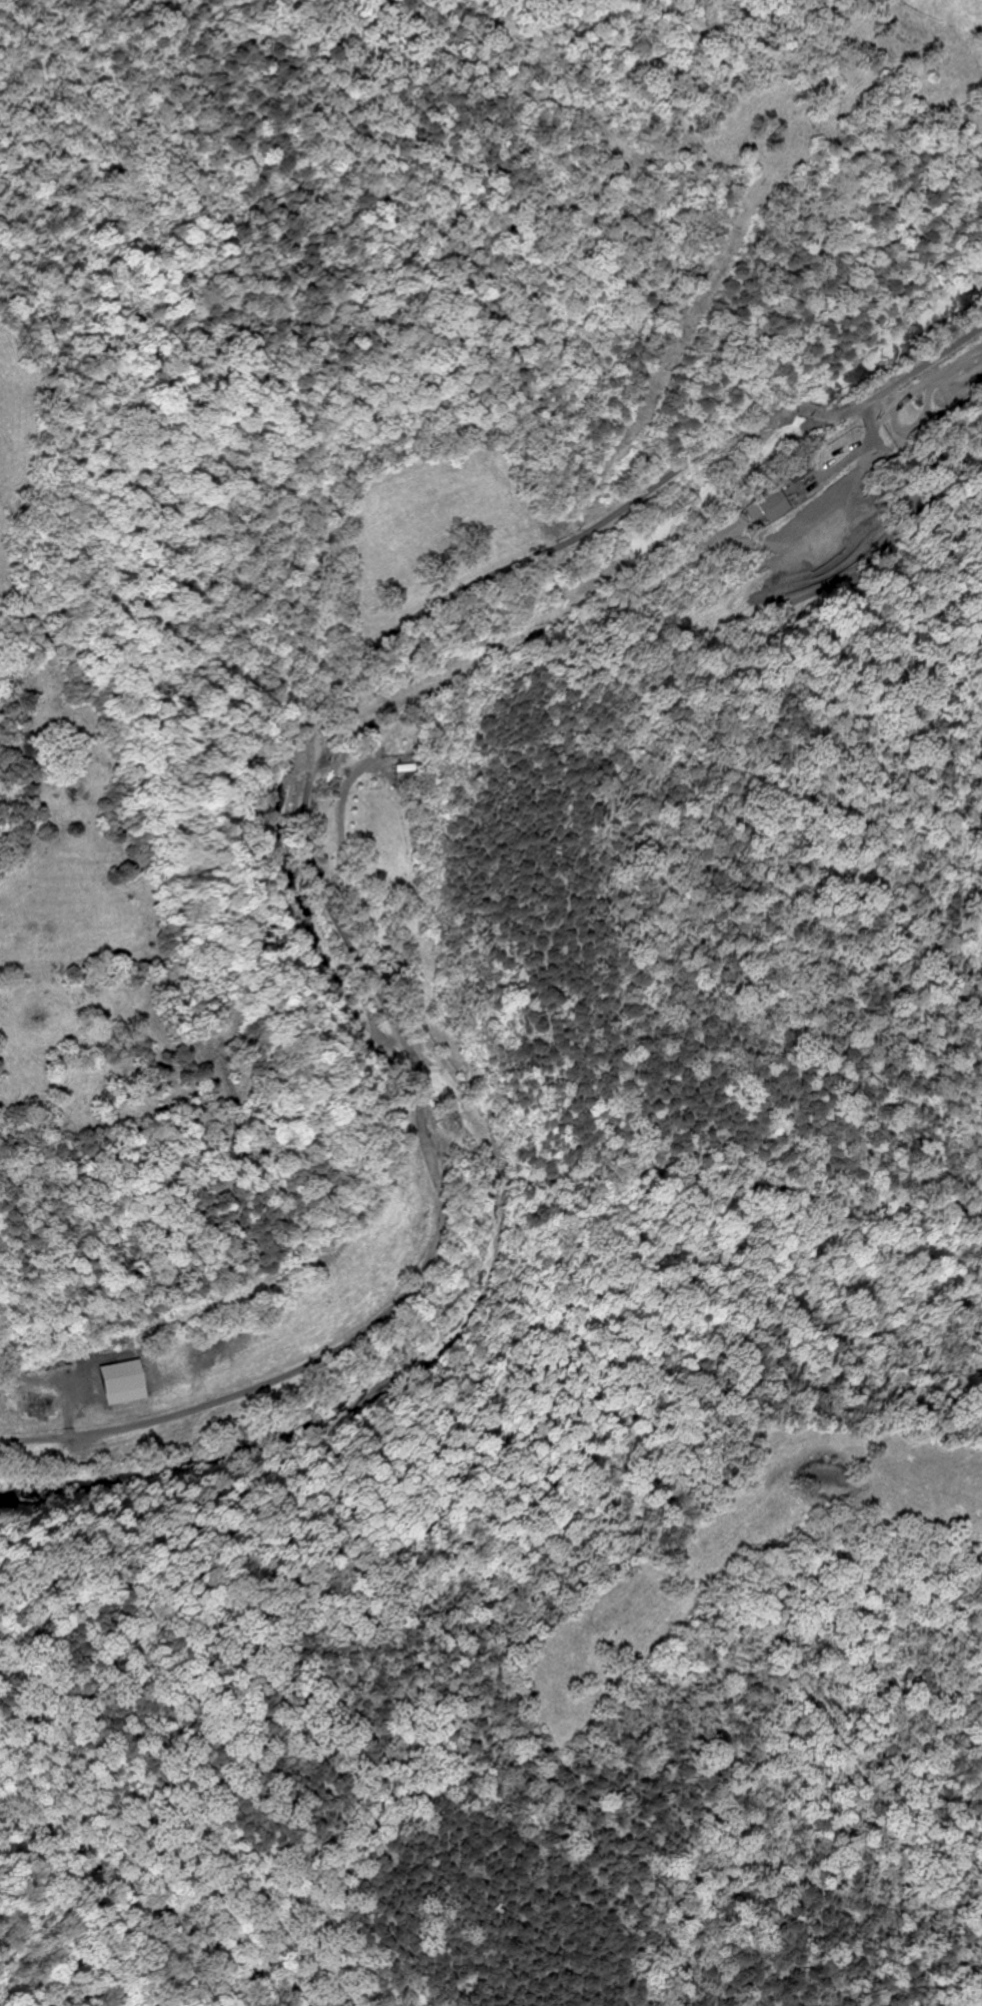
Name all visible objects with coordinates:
building: (768, 499)
road: (309, 851)

